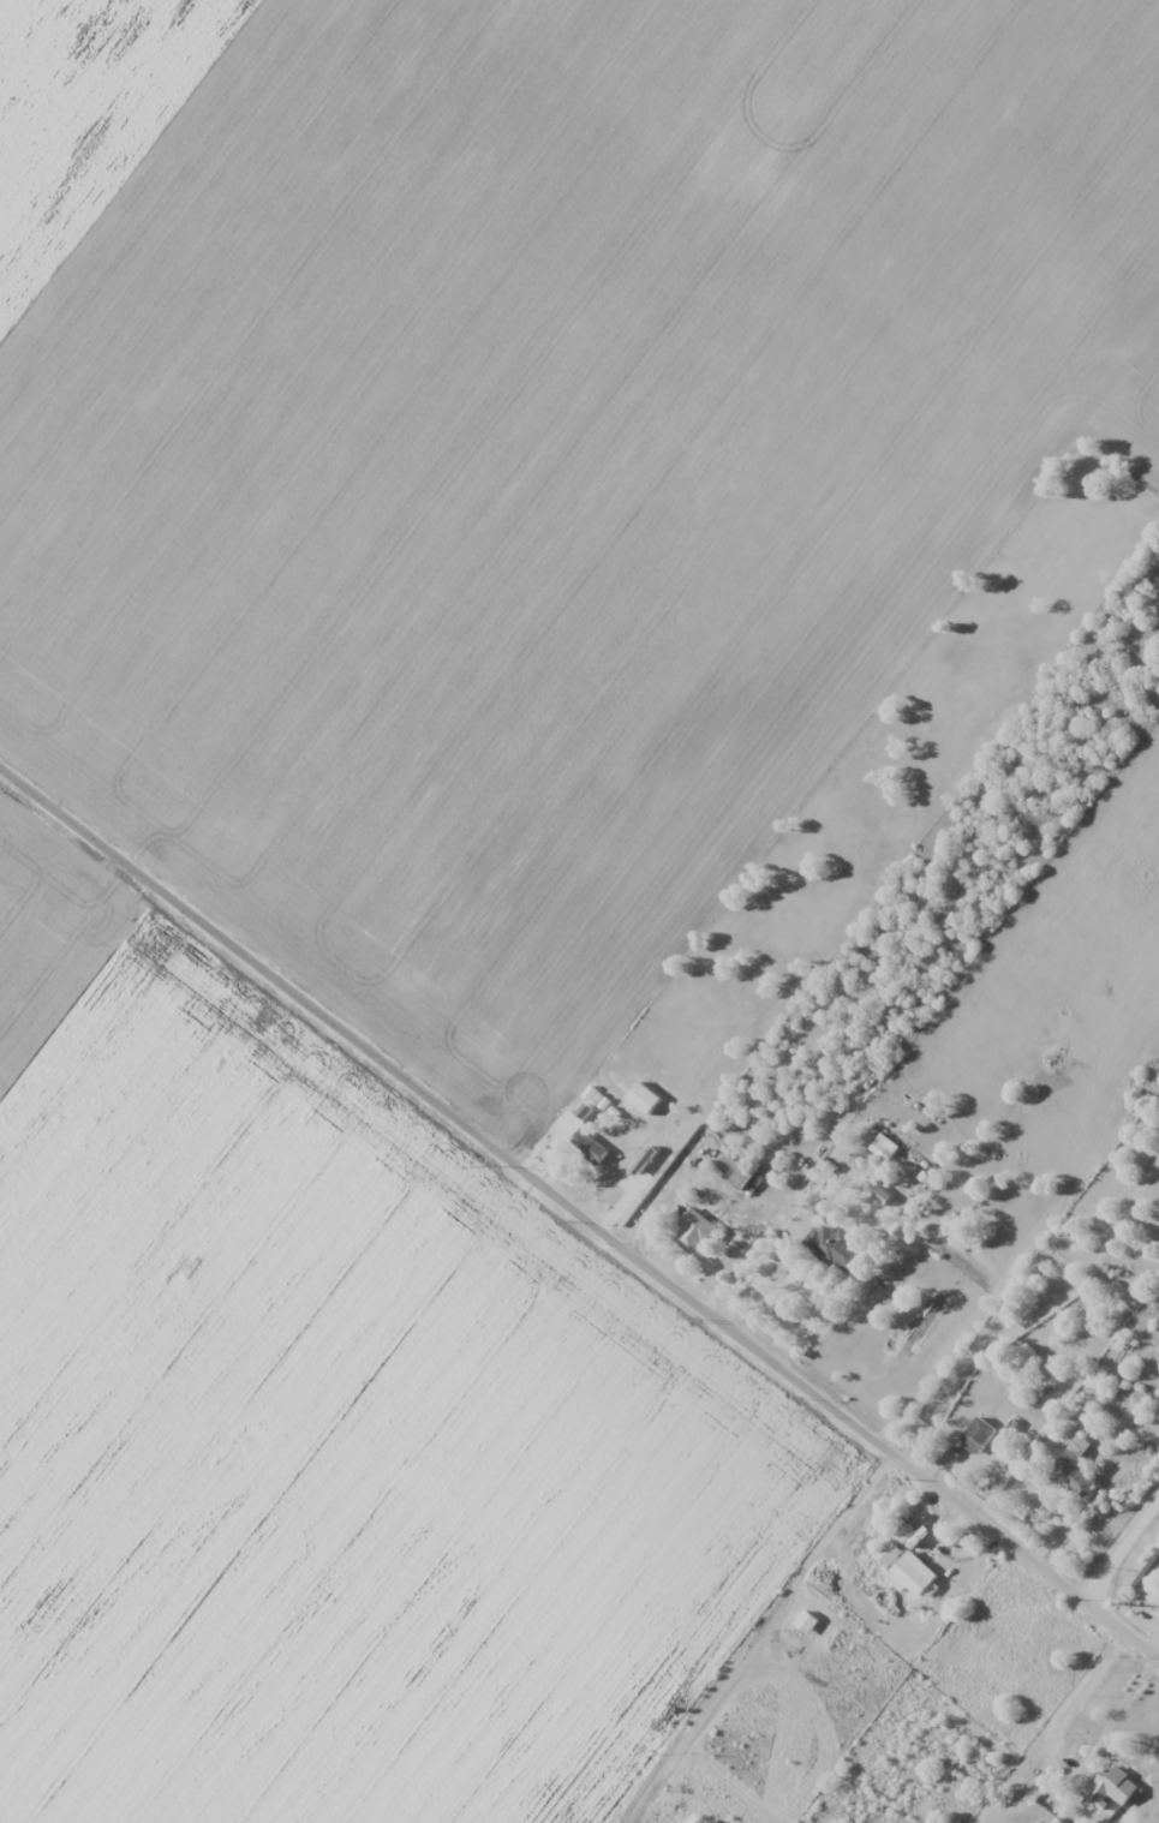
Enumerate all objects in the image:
building: (581, 1135)
building: (883, 1144)
building: (735, 1171)
building: (822, 1171)
building: (880, 1196)
road: (579, 1211)
building: (695, 1233)
building: (834, 1249)
building: (978, 1435)
building: (1074, 1466)
building: (888, 1553)
road: (1128, 1562)
building: (914, 1573)
building: (1146, 1573)
building: (1110, 1787)

